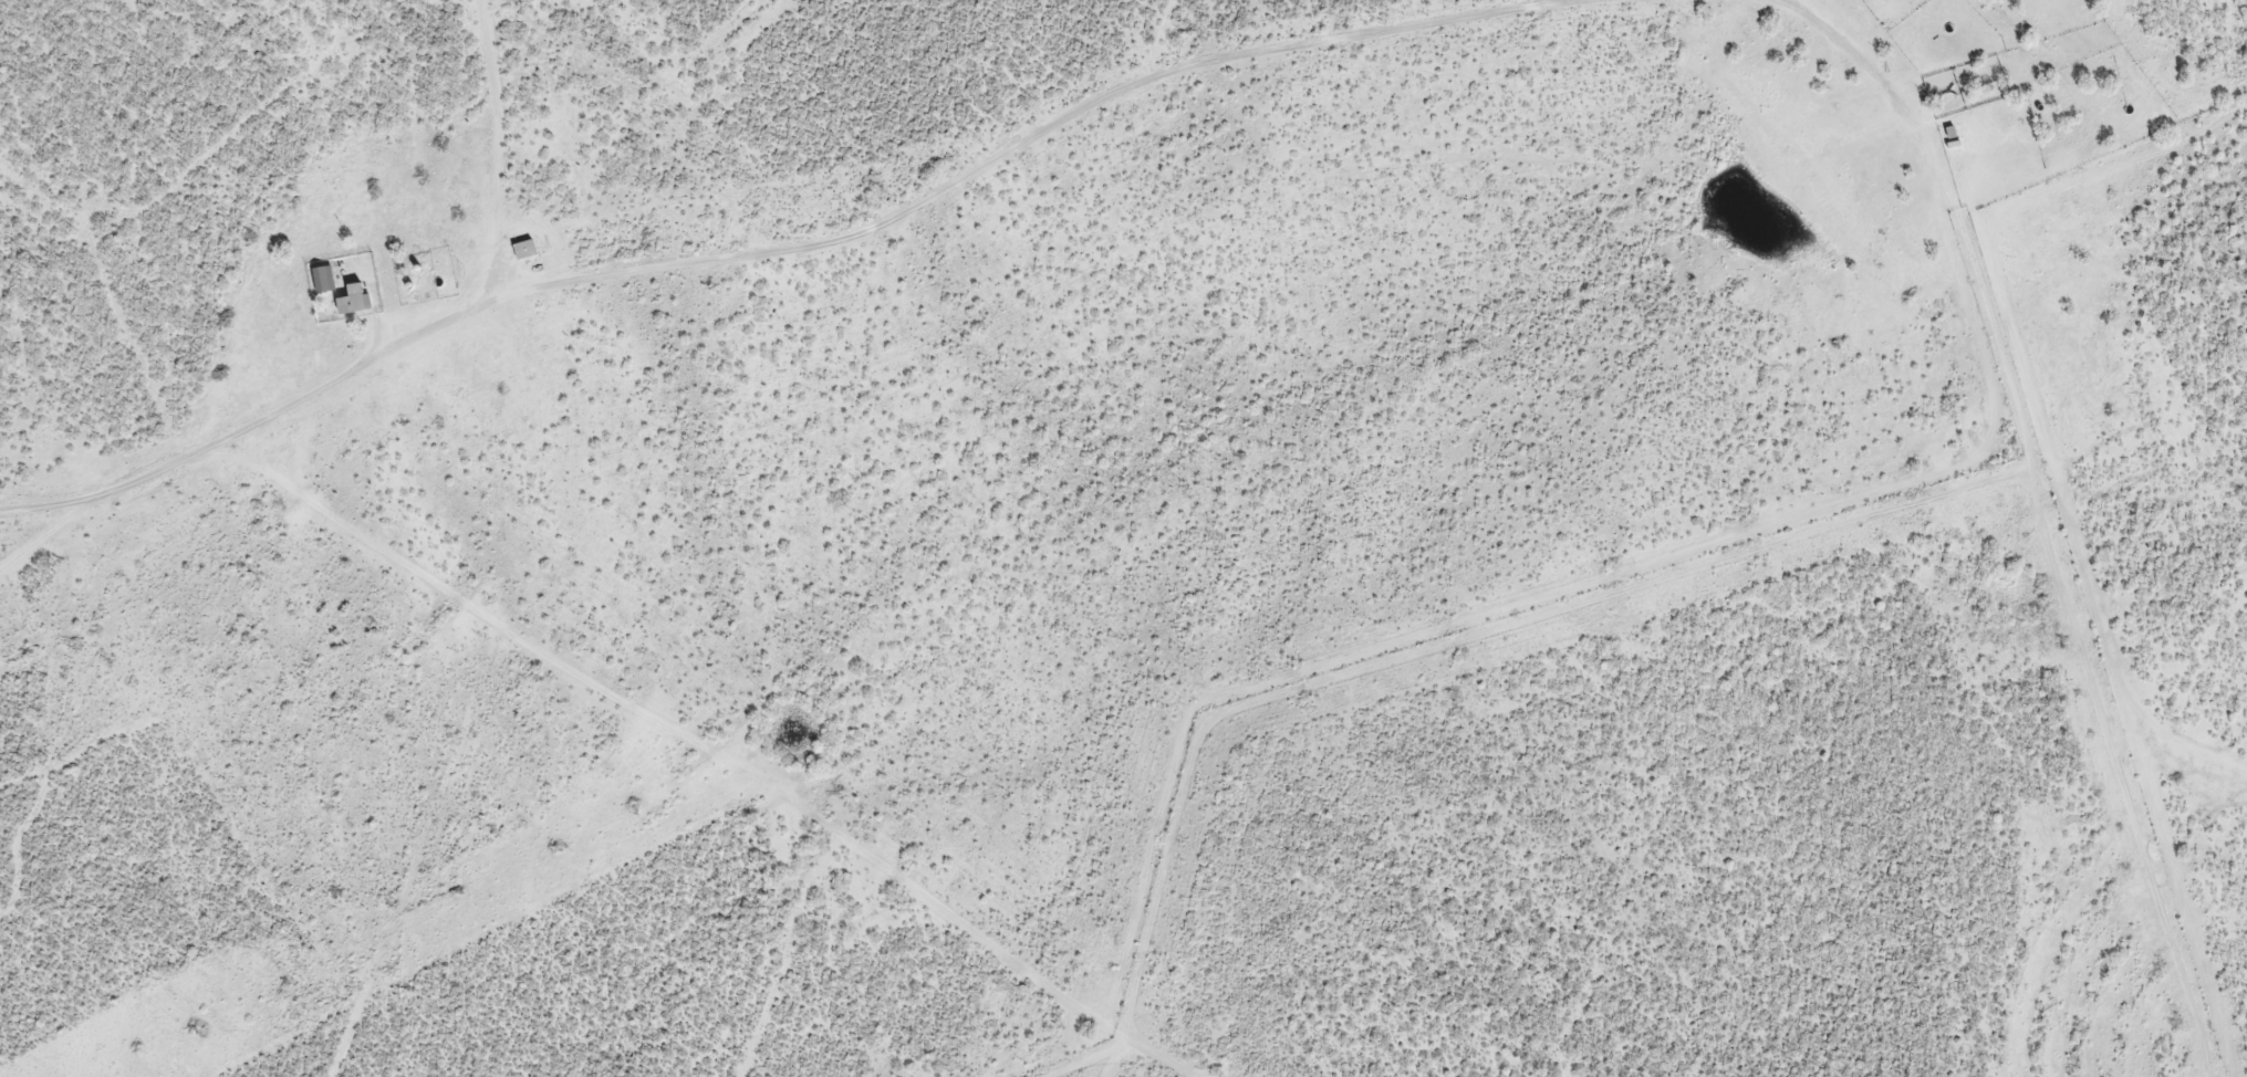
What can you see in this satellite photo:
building: (528, 251)
building: (337, 297)

